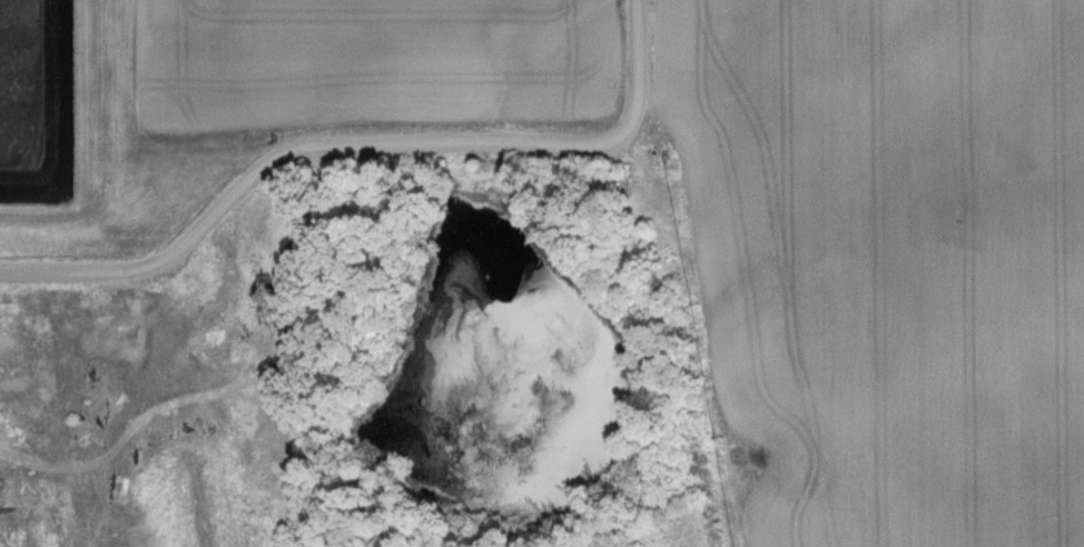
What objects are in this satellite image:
road: (356, 138)

